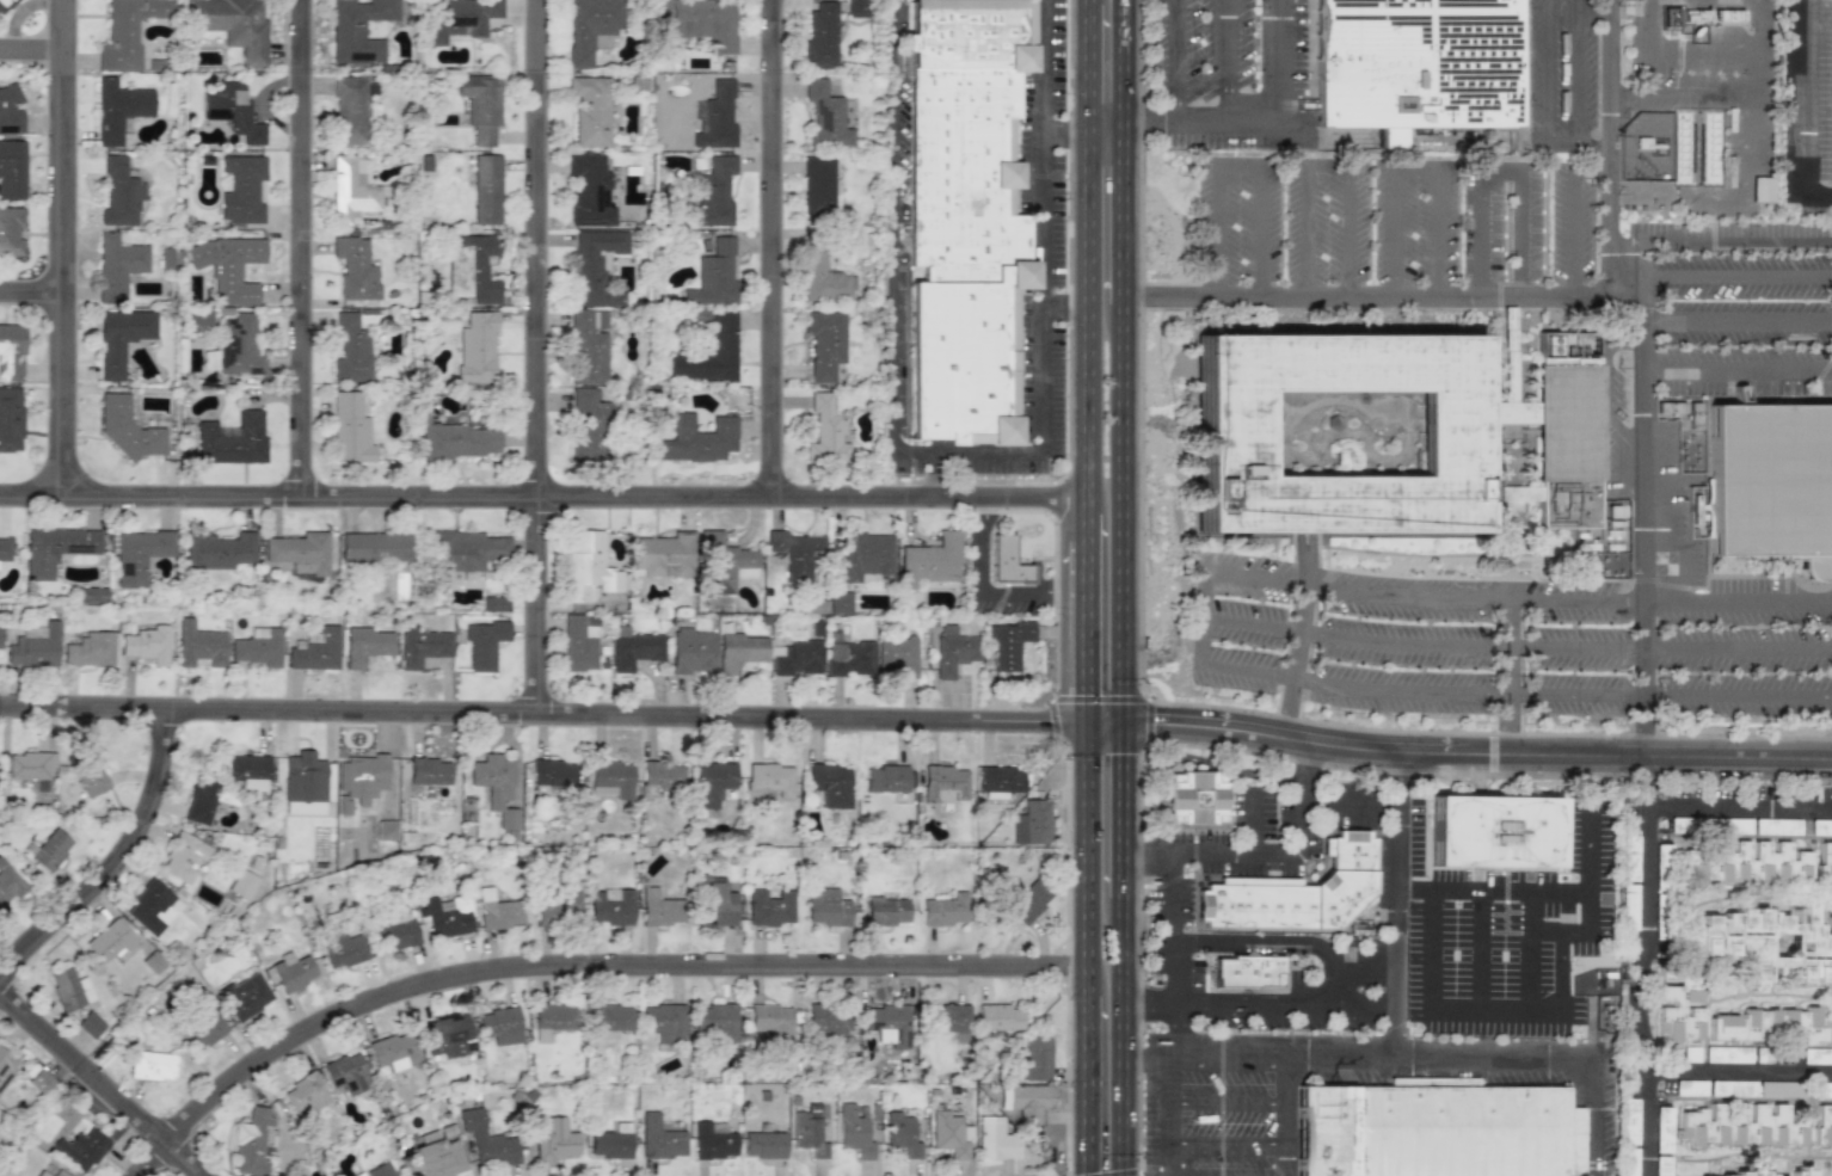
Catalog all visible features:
road: (1084, 1)
building: (5, 5)
road: (1609, 7)
building: (856, 8)
building: (1671, 18)
building: (459, 19)
building: (697, 21)
building: (232, 26)
building: (589, 26)
building: (357, 30)
building: (127, 32)
building: (820, 36)
road: (29, 38)
road: (1703, 50)
road: (1652, 51)
road: (1753, 51)
road: (1126, 61)
road: (1169, 61)
road: (1039, 62)
road: (1084, 62)
road: (1225, 62)
road: (1287, 62)
building: (1414, 64)
road: (1576, 69)
road: (1544, 85)
road: (1751, 104)
building: (480, 105)
building: (118, 109)
building: (232, 109)
building: (350, 110)
building: (589, 110)
building: (10, 111)
road: (1803, 113)
building: (825, 116)
building: (717, 118)
road: (1105, 122)
road: (1062, 123)
road: (1206, 123)
road: (1593, 154)
road: (1236, 166)
building: (12, 168)
road: (1329, 170)
road: (1415, 172)
road: (1504, 174)
building: (817, 185)
building: (241, 187)
building: (486, 189)
building: (351, 190)
building: (589, 191)
building: (713, 191)
building: (118, 192)
building: (1643, 196)
road: (1573, 214)
road: (1126, 215)
building: (965, 216)
building: (11, 232)
road: (57, 241)
road: (296, 241)
road: (767, 242)
road: (1736, 244)
building: (117, 265)
building: (227, 266)
building: (472, 267)
building: (595, 267)
building: (355, 269)
road: (1637, 273)
building: (713, 275)
building: (822, 276)
road: (29, 277)
road: (1384, 296)
road: (1062, 308)
road: (1083, 319)
building: (198, 320)
road: (1736, 320)
building: (121, 338)
building: (824, 343)
road: (1618, 344)
building: (238, 345)
building: (589, 345)
building: (475, 347)
building: (351, 350)
building: (11, 351)
building: (709, 352)
road: (531, 356)
road: (1739, 365)
road: (1604, 387)
building: (10, 419)
building: (588, 424)
building: (127, 427)
road: (1624, 427)
building: (349, 429)
building: (825, 431)
building: (1564, 431)
building: (1450, 435)
building: (696, 438)
building: (232, 439)
building: (457, 442)
road: (900, 452)
building: (1772, 484)
road: (541, 485)
road: (1646, 499)
road: (1125, 516)
building: (375, 547)
building: (5, 548)
building: (55, 549)
building: (466, 549)
building: (217, 550)
building: (299, 552)
building: (793, 553)
building: (139, 554)
building: (863, 554)
building: (663, 555)
building: (929, 560)
building: (1006, 560)
building: (724, 564)
building: (586, 565)
road: (985, 587)
road: (1209, 593)
road: (1520, 599)
building: (840, 602)
building: (494, 603)
road: (1082, 621)
building: (146, 644)
building: (482, 644)
building: (577, 644)
building: (1008, 644)
road: (1299, 644)
building: (198, 645)
building: (364, 645)
building: (35, 646)
building: (422, 646)
building: (257, 647)
building: (90, 648)
building: (633, 648)
road: (1517, 648)
building: (314, 649)
building: (691, 651)
building: (739, 651)
building: (953, 651)
building: (897, 655)
building: (797, 658)
building: (848, 658)
road: (1507, 677)
road: (1489, 692)
road: (541, 713)
road: (1103, 726)
road: (1477, 753)
building: (31, 768)
building: (247, 770)
building: (429, 771)
building: (553, 772)
road: (1301, 774)
building: (90, 778)
building: (610, 778)
building: (659, 778)
building: (885, 778)
building: (358, 780)
building: (768, 780)
building: (998, 781)
building: (306, 783)
building: (712, 783)
building: (943, 783)
building: (829, 784)
building: (496, 786)
building: (1195, 798)
building: (199, 801)
road: (1366, 805)
road: (1125, 812)
building: (1032, 823)
road: (1254, 825)
building: (386, 830)
building: (1493, 830)
building: (50, 849)
road: (115, 850)
building: (183, 857)
building: (1629, 857)
road: (1082, 860)
building: (1824, 862)
building: (1742, 863)
building: (241, 883)
building: (1297, 893)
building: (1028, 901)
building: (717, 903)
building: (609, 906)
building: (1628, 906)
building: (150, 907)
building: (769, 907)
building: (825, 907)
building: (658, 909)
building: (497, 910)
building: (559, 910)
building: (886, 910)
building: (945, 910)
building: (447, 916)
building: (398, 934)
road: (1279, 938)
building: (109, 941)
road: (1649, 942)
building: (1764, 943)
building: (343, 950)
road: (1477, 950)
road: (1529, 950)
road: (567, 956)
road: (1170, 960)
building: (1248, 971)
building: (289, 972)
building: (68, 989)
road: (1320, 989)
building: (244, 996)
building: (1677, 1002)
road: (1258, 1003)
road: (1369, 1003)
road: (1148, 1004)
road: (1492, 1012)
building: (997, 1016)
building: (552, 1020)
building: (609, 1020)
building: (953, 1020)
building: (826, 1021)
building: (663, 1022)
building: (715, 1022)
building: (773, 1022)
building: (889, 1023)
building: (90, 1024)
building: (499, 1024)
building: (1771, 1027)
building: (204, 1029)
building: (445, 1035)
road: (1125, 1036)
building: (392, 1052)
building: (1691, 1054)
building: (1727, 1054)
building: (1763, 1054)
building: (1816, 1055)
building: (1035, 1057)
road: (1440, 1063)
building: (152, 1065)
road: (1148, 1065)
building: (6, 1066)
building: (345, 1072)
building: (41, 1082)
road: (99, 1083)
road: (1083, 1085)
building: (1715, 1088)
building: (1827, 1088)
building: (1777, 1089)
building: (303, 1095)
building: (1026, 1100)
road: (1228, 1102)
road: (1170, 1120)
road: (1285, 1120)
building: (1629, 1121)
road: (1646, 1122)
building: (1434, 1125)
building: (1741, 1125)
building: (1822, 1126)
building: (1662, 1129)
building: (809, 1131)
building: (854, 1132)
building: (902, 1134)
building: (949, 1134)
building: (659, 1138)
building: (486, 1139)
building: (554, 1139)
building: (994, 1139)
building: (712, 1140)
building: (252, 1141)
building: (610, 1141)
building: (763, 1145)
road: (1228, 1145)
building: (80, 1149)
building: (434, 1157)
building: (1630, 1162)
building: (1661, 1165)
building: (379, 1170)
building: (1801, 1171)
building: (42, 1174)
building: (59, 1174)
building: (1753, 1174)

